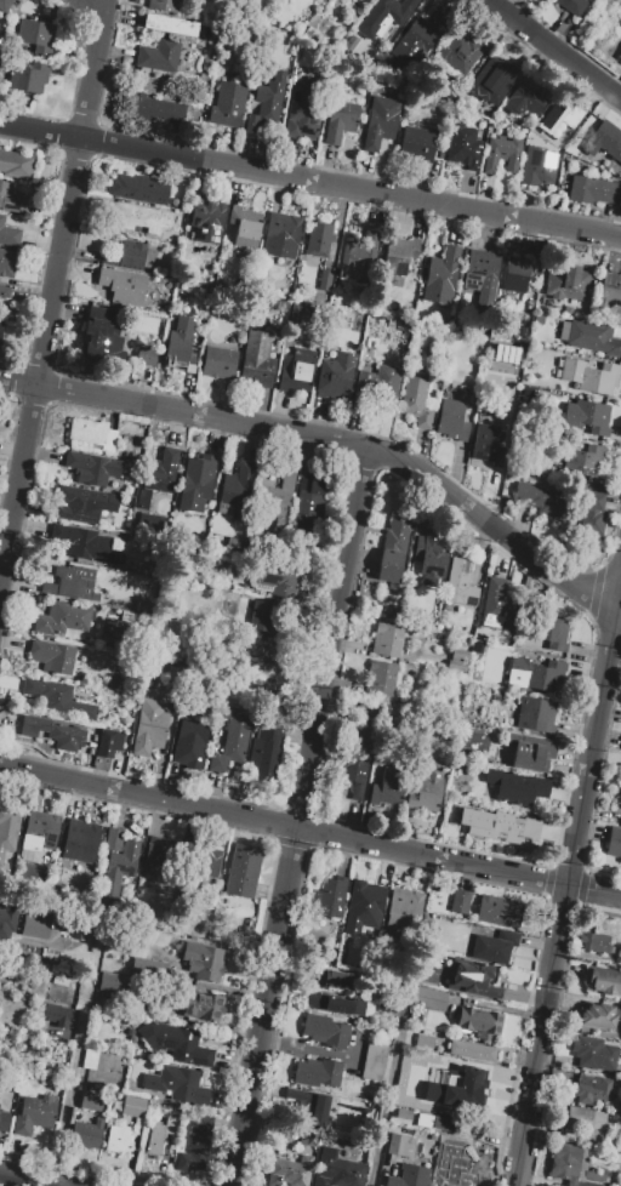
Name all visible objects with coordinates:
building: (5, 5)
building: (164, 5)
building: (572, 6)
road: (87, 10)
building: (384, 16)
building: (170, 24)
building: (0, 34)
building: (34, 38)
building: (420, 40)
road: (554, 47)
building: (462, 51)
building: (158, 56)
building: (619, 57)
building: (28, 78)
building: (494, 78)
building: (525, 98)
building: (227, 104)
building: (266, 106)
building: (581, 108)
building: (156, 112)
building: (303, 112)
building: (552, 115)
building: (340, 120)
building: (378, 127)
building: (606, 139)
building: (418, 142)
building: (462, 149)
building: (501, 154)
building: (16, 164)
building: (537, 166)
road: (309, 182)
building: (139, 189)
building: (593, 190)
building: (11, 199)
building: (137, 217)
building: (206, 218)
building: (244, 226)
building: (8, 234)
building: (281, 235)
building: (319, 239)
building: (125, 255)
building: (400, 256)
building: (357, 257)
building: (7, 262)
building: (515, 274)
building: (441, 275)
building: (480, 275)
building: (324, 280)
building: (566, 281)
building: (123, 285)
building: (4, 290)
building: (610, 291)
road: (52, 297)
building: (566, 309)
building: (364, 313)
building: (537, 320)
building: (0, 326)
building: (520, 326)
building: (589, 336)
building: (108, 343)
building: (181, 343)
building: (277, 344)
building: (146, 355)
building: (503, 358)
building: (256, 359)
building: (218, 363)
building: (297, 370)
building: (515, 372)
building: (589, 375)
building: (335, 376)
building: (377, 386)
building: (416, 399)
building: (587, 416)
building: (451, 418)
building: (92, 433)
road: (329, 439)
building: (486, 446)
building: (585, 460)
building: (91, 468)
building: (160, 471)
building: (196, 484)
building: (239, 490)
building: (279, 498)
building: (547, 501)
building: (82, 503)
building: (309, 506)
building: (591, 519)
building: (201, 542)
building: (84, 543)
building: (393, 547)
building: (428, 560)
building: (279, 580)
building: (460, 583)
building: (72, 585)
road: (616, 588)
building: (497, 608)
road: (616, 614)
building: (262, 616)
building: (61, 620)
building: (551, 632)
building: (387, 639)
building: (257, 655)
building: (52, 656)
building: (456, 662)
building: (536, 674)
building: (380, 677)
building: (173, 680)
building: (113, 683)
building: (59, 699)
building: (536, 714)
building: (149, 726)
building: (61, 734)
building: (188, 739)
building: (230, 739)
building: (264, 749)
building: (525, 752)
building: (353, 775)
building: (389, 786)
building: (518, 789)
building: (425, 794)
building: (620, 796)
road: (296, 815)
road: (281, 826)
building: (7, 827)
building: (39, 828)
building: (501, 829)
building: (80, 840)
building: (614, 843)
building: (161, 853)
building: (205, 863)
building: (119, 866)
building: (244, 872)
road: (593, 889)
building: (329, 897)
building: (365, 897)
road: (563, 897)
building: (460, 901)
building: (106, 908)
building: (403, 910)
building: (498, 911)
building: (7, 919)
building: (74, 924)
building: (35, 926)
building: (158, 937)
building: (596, 942)
building: (494, 946)
building: (142, 950)
building: (204, 960)
building: (149, 967)
building: (53, 969)
building: (471, 979)
building: (336, 980)
building: (61, 981)
building: (603, 981)
building: (112, 982)
building: (36, 988)
building: (428, 999)
building: (203, 1004)
building: (337, 1005)
building: (55, 1014)
building: (598, 1015)
building: (479, 1021)
building: (58, 1030)
building: (326, 1030)
building: (175, 1043)
building: (423, 1043)
building: (472, 1050)
building: (593, 1054)
road: (78, 1055)
building: (90, 1059)
building: (374, 1061)
building: (319, 1071)
building: (465, 1074)
road: (393, 1076)
building: (177, 1084)
building: (457, 1089)
building: (591, 1090)
building: (91, 1101)
building: (309, 1105)
building: (133, 1107)
building: (34, 1114)
building: (404, 1114)
building: (579, 1119)
building: (4, 1121)
building: (450, 1124)
building: (86, 1134)
building: (159, 1135)
building: (118, 1137)
building: (309, 1137)
building: (195, 1145)
building: (401, 1145)
building: (569, 1164)
building: (337, 1169)
building: (455, 1169)
building: (289, 1170)
building: (409, 1175)
road: (30, 1180)

